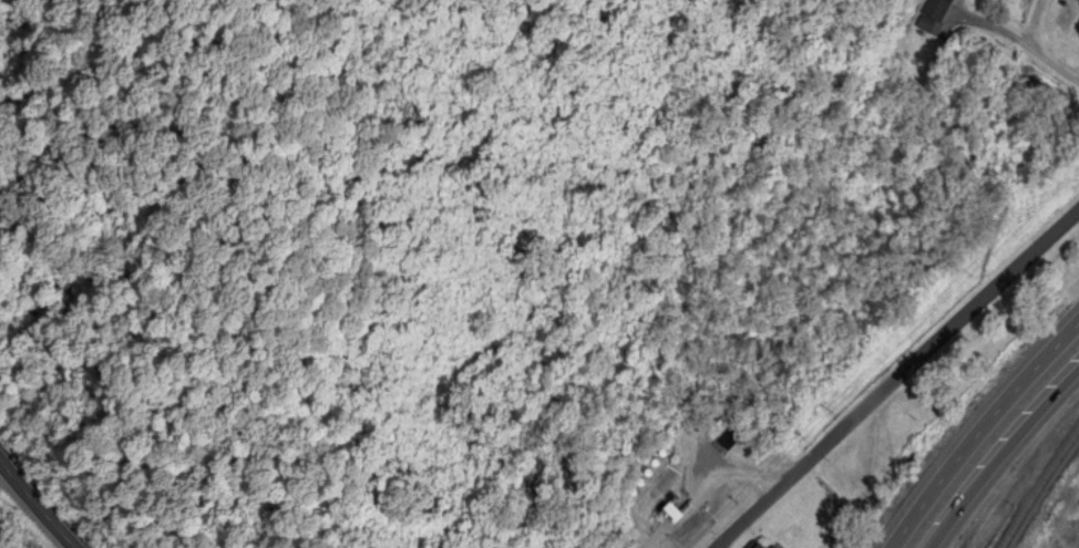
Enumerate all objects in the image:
building: (1077, 1)
building: (937, 12)
road: (1035, 22)
road: (1031, 46)
road: (900, 380)
road: (977, 426)
road: (995, 447)
railway: (1039, 488)
road: (37, 505)
building: (757, 546)
building: (771, 547)

